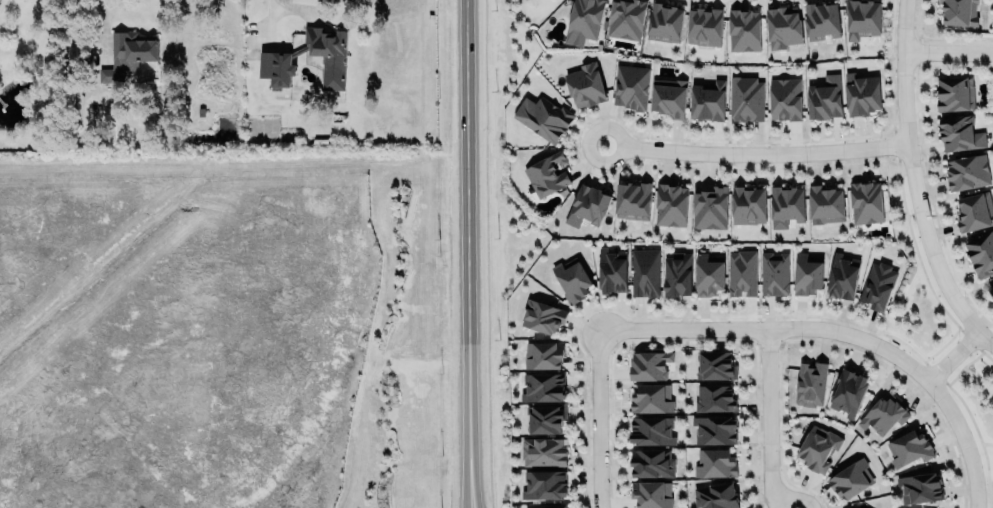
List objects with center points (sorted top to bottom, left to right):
building: (960, 12)
building: (862, 18)
building: (585, 19)
building: (626, 19)
building: (822, 20)
road: (104, 21)
building: (665, 22)
building: (705, 26)
building: (784, 28)
building: (744, 30)
road: (947, 45)
building: (130, 50)
building: (275, 60)
building: (585, 85)
building: (631, 87)
building: (954, 93)
building: (863, 96)
building: (668, 97)
building: (825, 98)
building: (746, 99)
building: (786, 99)
building: (707, 100)
building: (543, 118)
building: (959, 134)
road: (746, 149)
building: (968, 172)
building: (547, 174)
road: (914, 181)
building: (633, 200)
building: (866, 203)
building: (671, 205)
building: (749, 205)
building: (825, 205)
building: (588, 206)
building: (787, 206)
building: (710, 208)
building: (975, 212)
road: (468, 254)
building: (981, 254)
building: (613, 270)
building: (645, 273)
building: (742, 273)
building: (677, 274)
building: (774, 274)
building: (807, 274)
building: (709, 277)
building: (842, 277)
building: (572, 279)
building: (878, 286)
building: (991, 291)
building: (542, 317)
road: (766, 325)
road: (952, 349)
building: (543, 355)
building: (650, 365)
building: (717, 366)
building: (810, 383)
building: (543, 386)
building: (848, 392)
building: (714, 397)
building: (652, 399)
building: (884, 414)
road: (594, 415)
road: (765, 418)
building: (546, 419)
building: (715, 429)
building: (652, 431)
road: (969, 434)
building: (816, 448)
building: (910, 449)
building: (544, 451)
building: (652, 463)
building: (715, 463)
building: (851, 479)
building: (544, 484)
building: (921, 487)
building: (652, 494)
building: (716, 496)
building: (552, 506)

